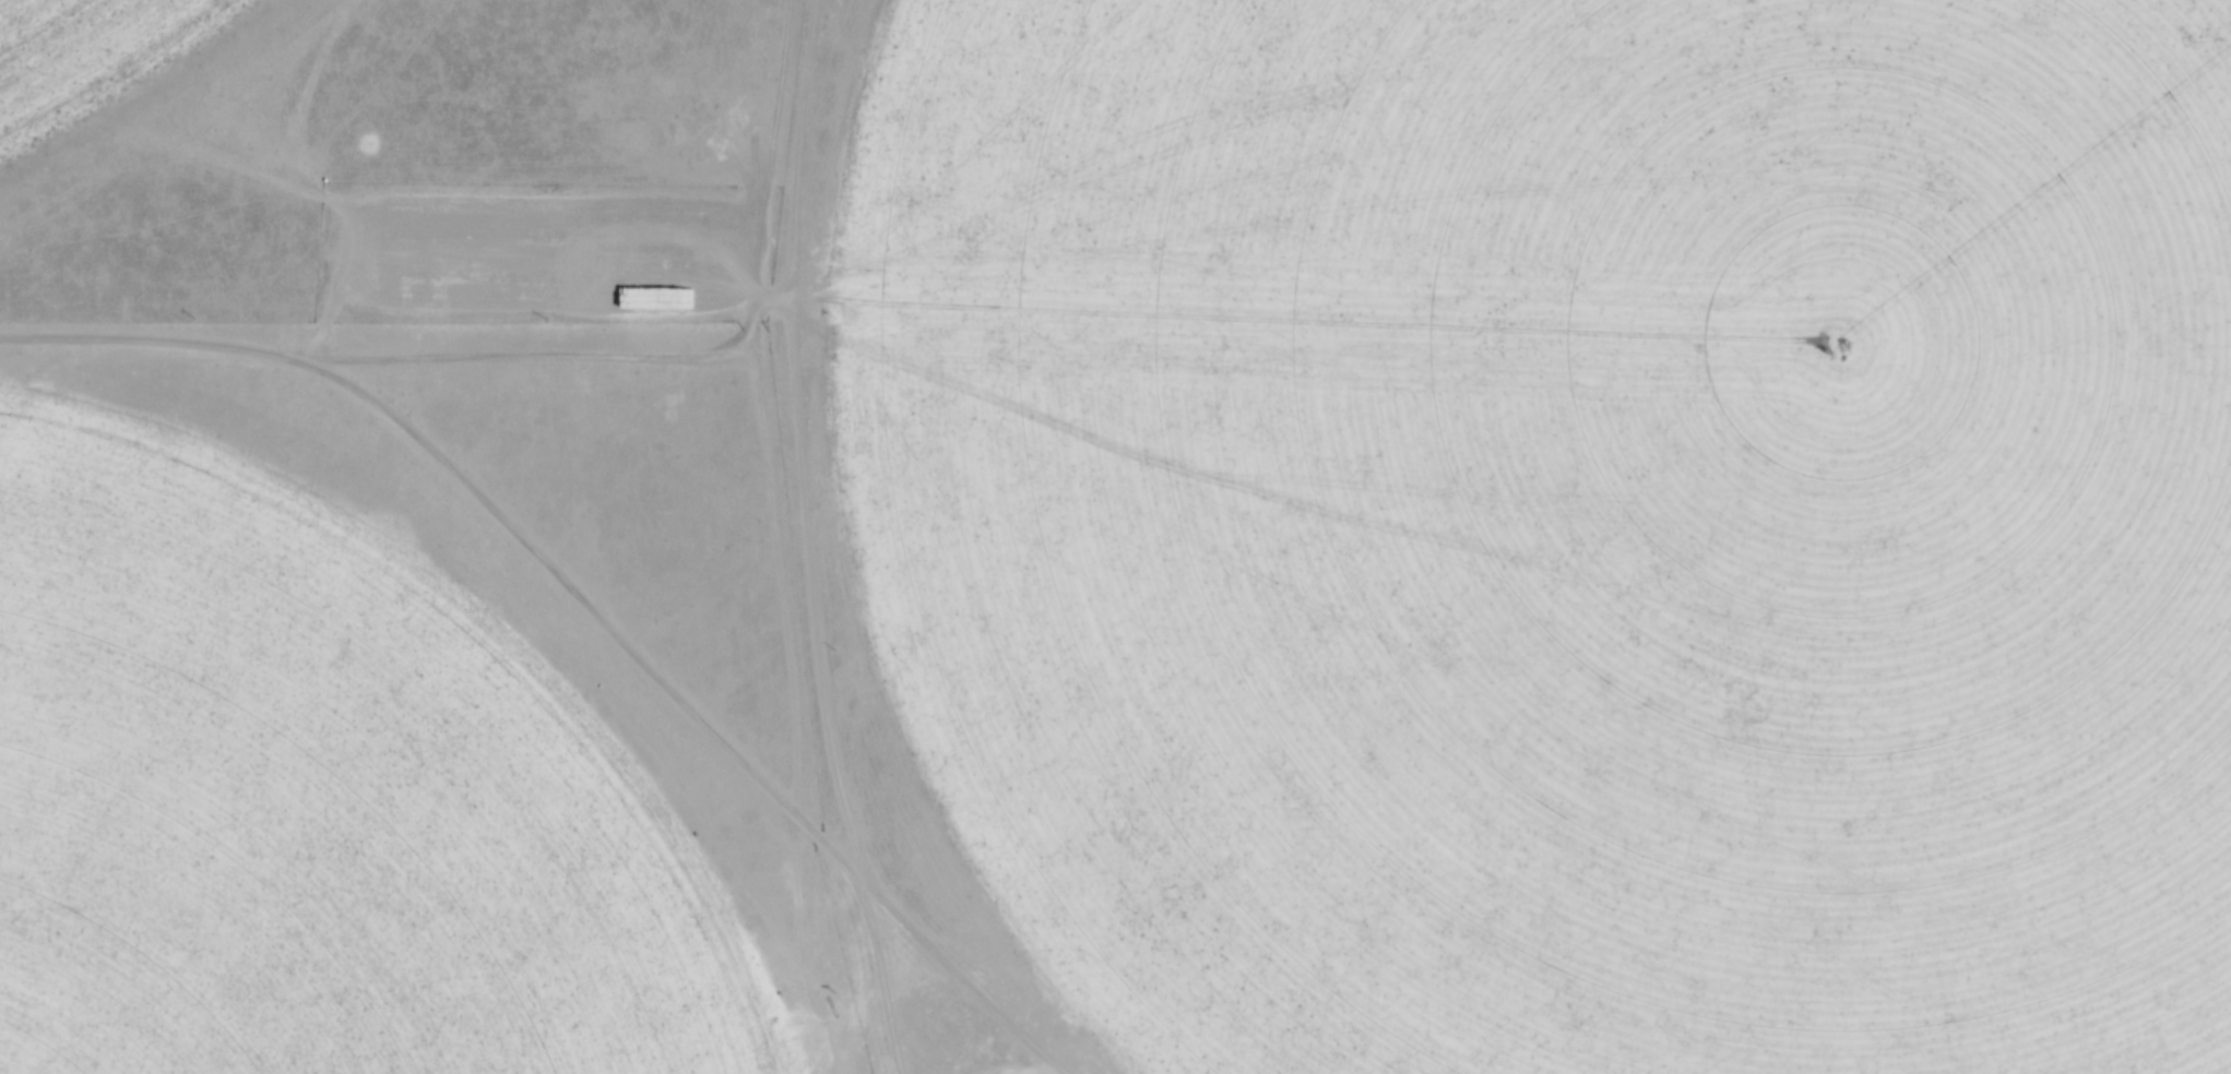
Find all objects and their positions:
crop: (93, 60)
road: (401, 339)
road: (823, 537)
crop: (308, 804)

